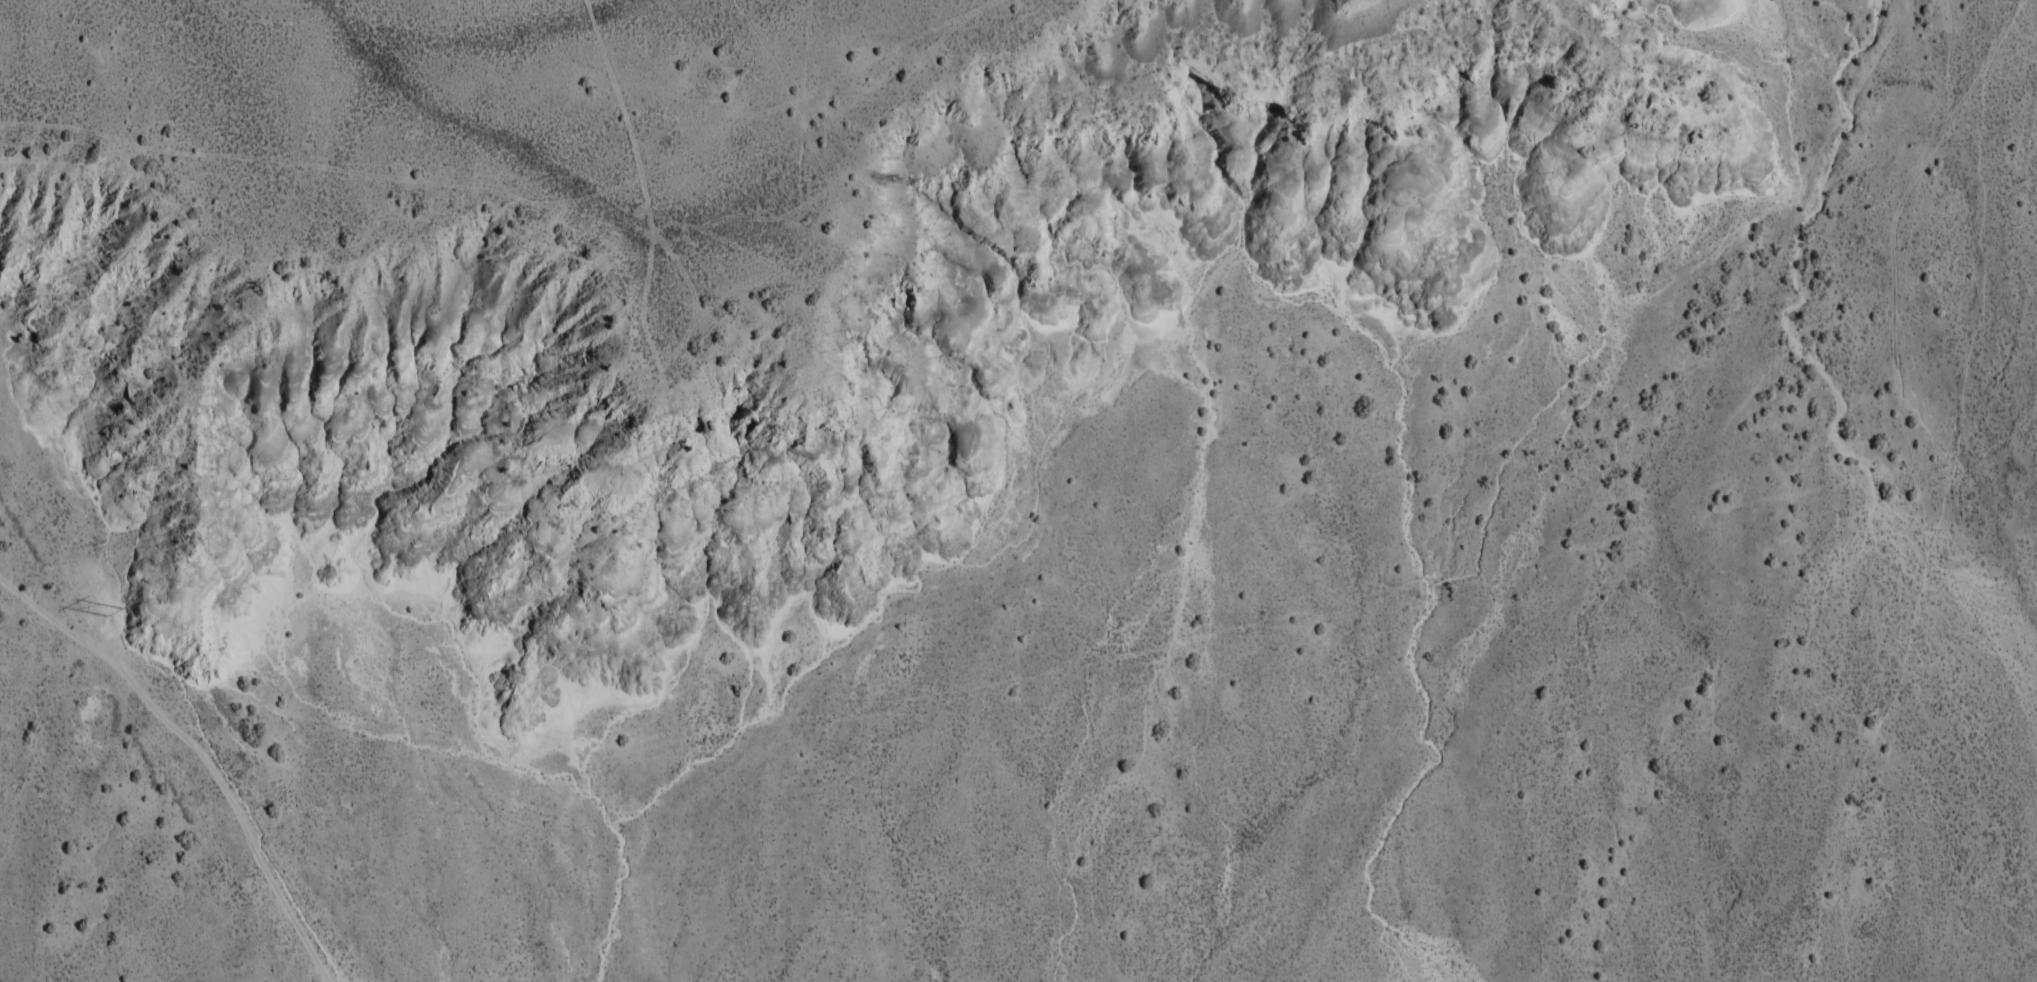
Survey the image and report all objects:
power tower: (120, 620)

